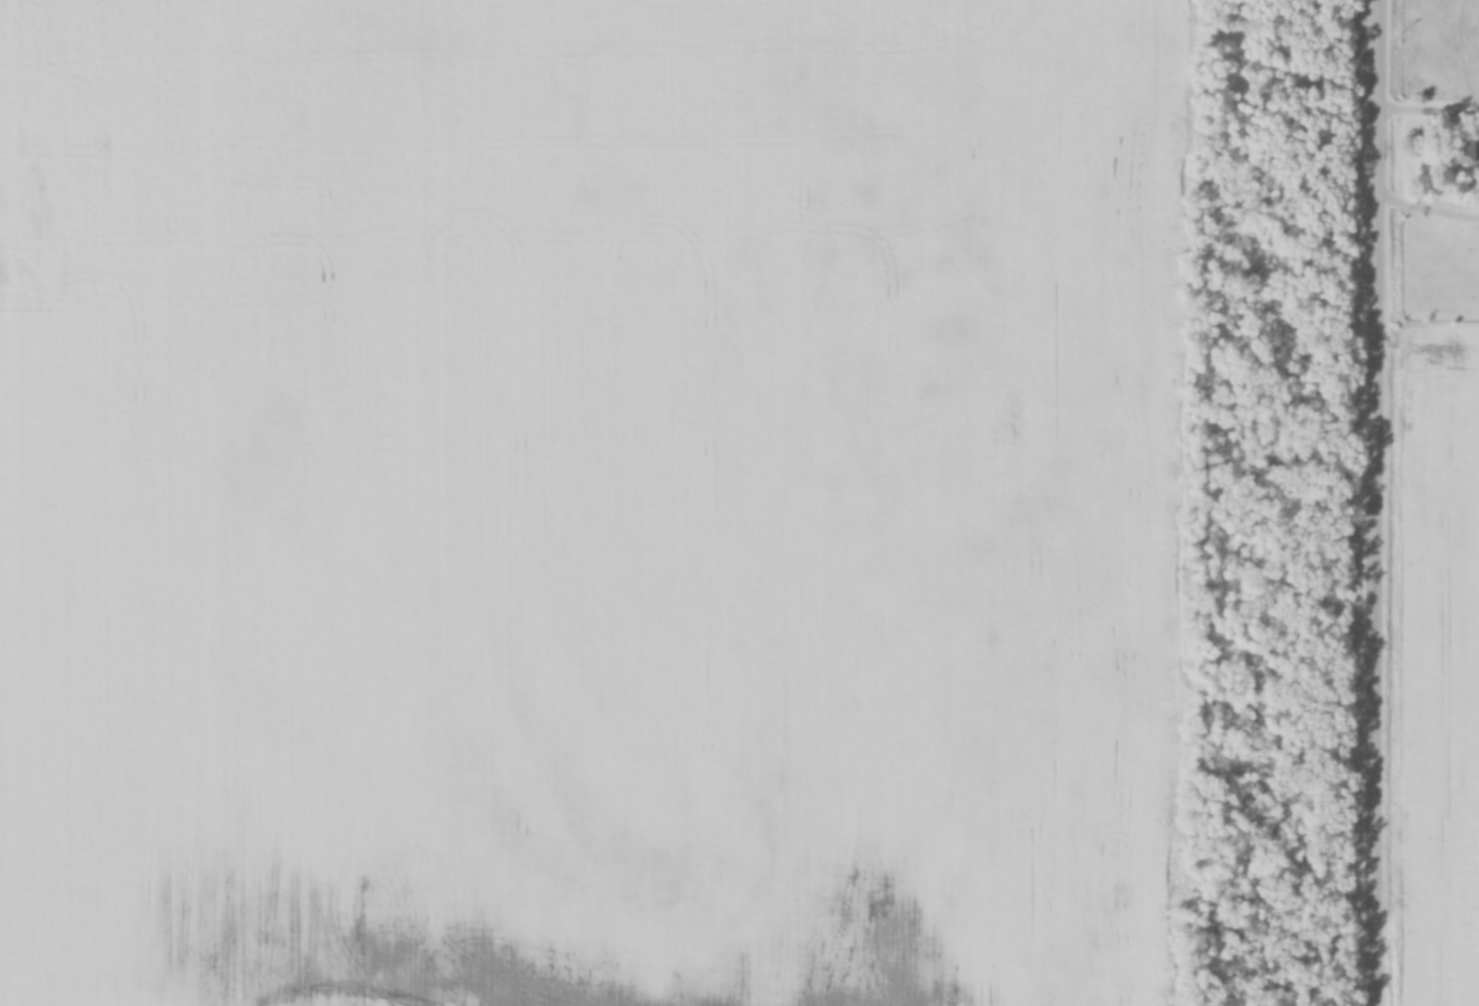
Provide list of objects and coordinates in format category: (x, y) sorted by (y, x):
building: (1468, 151)
road: (1384, 503)

